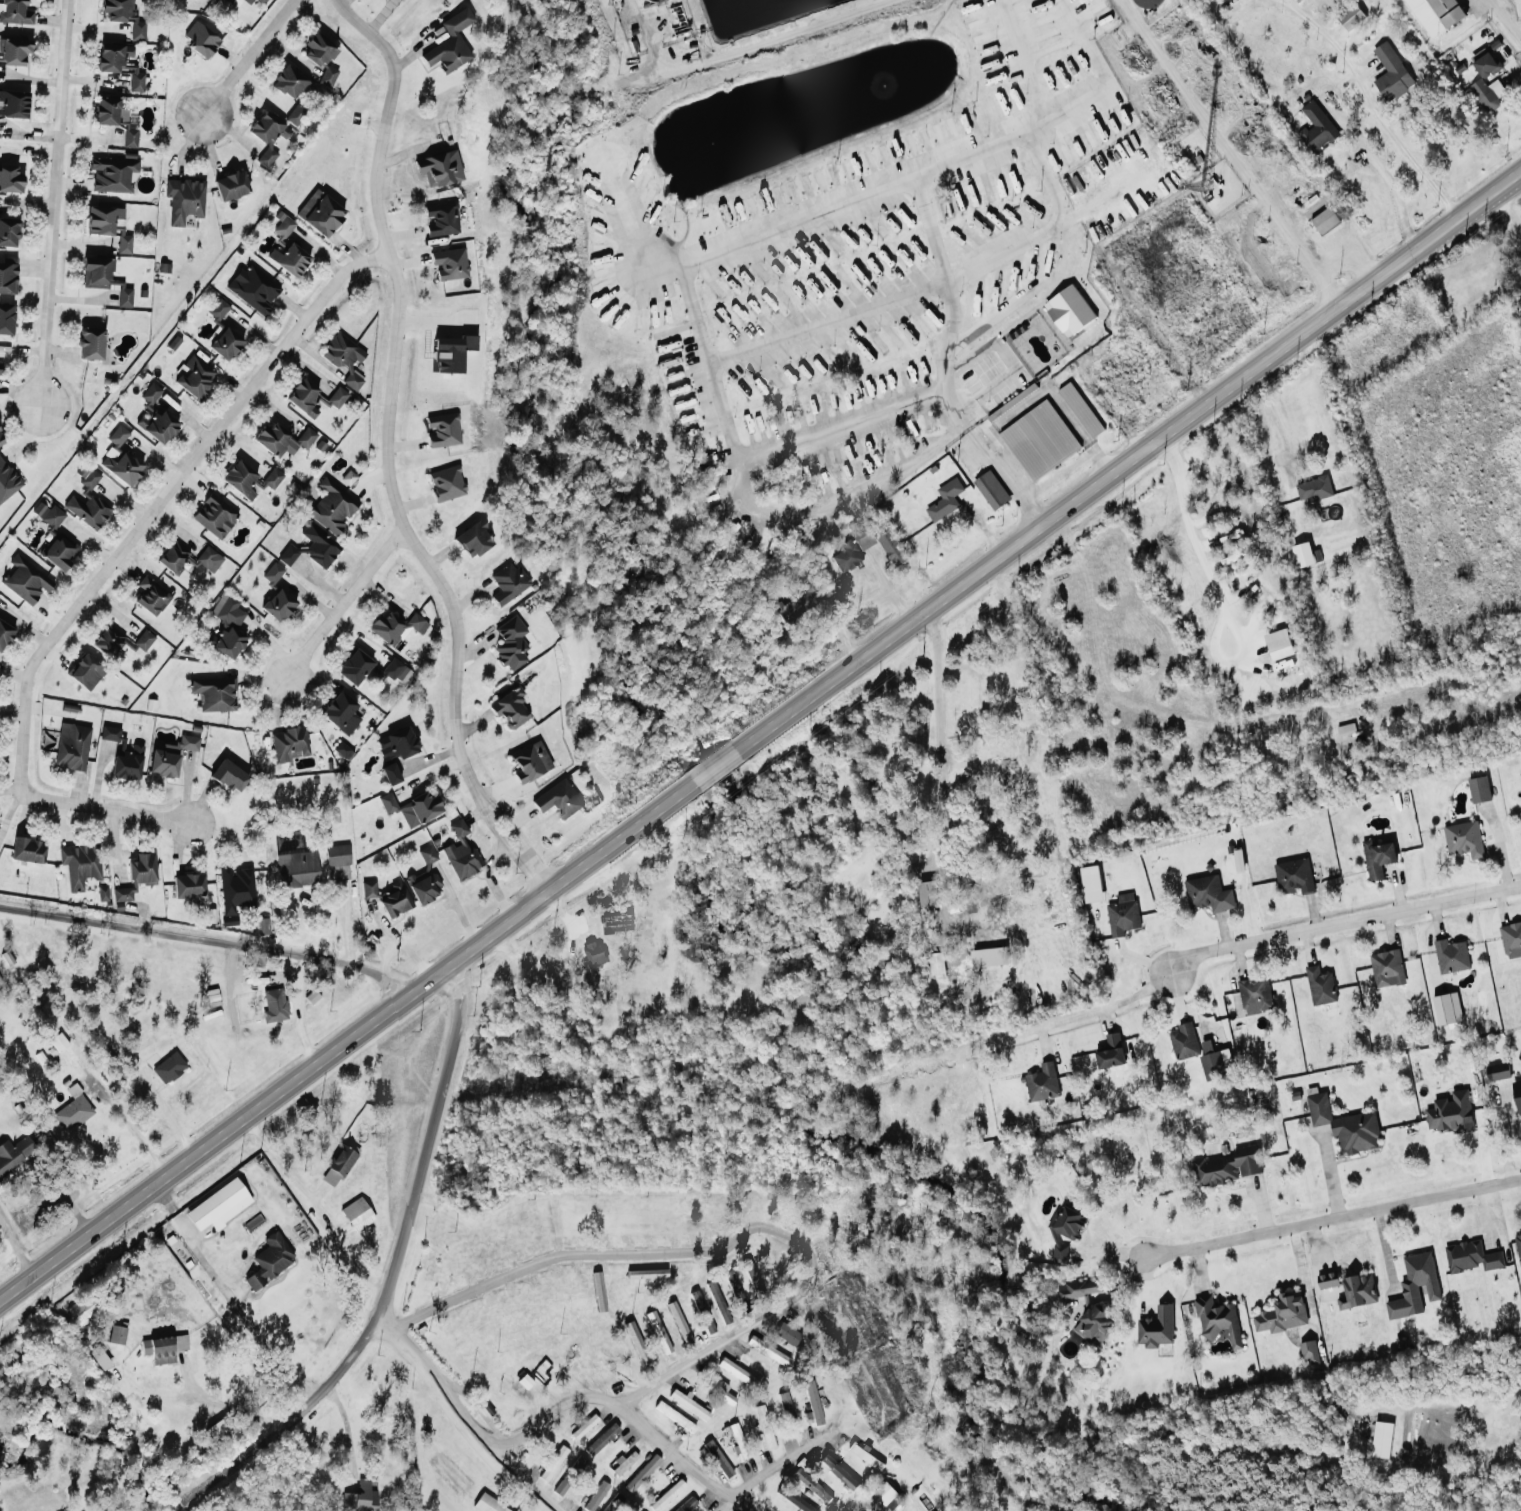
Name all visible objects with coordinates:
building: (230, 0)
building: (1211, 0)
building: (248, 1)
building: (262, 1)
building: (1147, 3)
storage tank: (1147, 3)
building: (1453, 11)
building: (15, 12)
building: (124, 15)
building: (1354, 15)
road: (1504, 19)
building: (200, 39)
road: (761, 42)
building: (450, 43)
building: (14, 51)
building: (321, 57)
road: (248, 58)
road: (1020, 60)
building: (1489, 61)
building: (119, 63)
building: (1393, 69)
road: (1104, 75)
building: (291, 83)
fountain: (881, 85)
building: (1499, 86)
building: (13, 104)
road: (1369, 109)
building: (296, 113)
building: (114, 118)
building: (1320, 122)
building: (268, 135)
fountain: (712, 142)
road: (1227, 153)
building: (439, 168)
building: (112, 174)
road: (1385, 177)
building: (10, 179)
building: (230, 185)
building: (184, 199)
road: (52, 203)
building: (320, 213)
building: (102, 219)
building: (441, 219)
building: (1326, 219)
road: (791, 220)
building: (283, 224)
road: (928, 229)
road: (1044, 230)
building: (8, 231)
road: (1507, 238)
road: (1348, 243)
building: (125, 244)
road: (390, 251)
building: (289, 259)
building: (449, 263)
building: (96, 272)
building: (8, 275)
building: (253, 288)
building: (122, 294)
road: (1019, 296)
building: (218, 309)
building: (1068, 310)
building: (6, 318)
building: (90, 343)
building: (225, 343)
road: (947, 347)
building: (451, 352)
building: (344, 358)
road: (1008, 358)
building: (0, 368)
building: (194, 376)
road: (714, 387)
road: (1048, 389)
building: (303, 397)
building: (337, 397)
building: (1011, 400)
building: (1079, 407)
building: (155, 416)
road: (1275, 423)
road: (838, 426)
road: (962, 426)
building: (442, 430)
road: (984, 434)
building: (1039, 438)
road: (1132, 438)
building: (282, 439)
building: (1, 441)
building: (120, 458)
road: (1100, 460)
road: (1130, 462)
building: (249, 479)
road: (1004, 479)
building: (7, 480)
building: (446, 482)
building: (1313, 488)
building: (991, 489)
building: (944, 499)
building: (87, 500)
road: (162, 503)
building: (331, 507)
building: (48, 514)
building: (214, 515)
building: (473, 539)
building: (890, 545)
building: (60, 551)
building: (1302, 554)
building: (847, 556)
building: (187, 559)
building: (272, 573)
building: (25, 580)
building: (508, 583)
road: (1215, 588)
building: (151, 596)
road: (346, 601)
building: (793, 604)
building: (278, 605)
road: (1010, 618)
building: (226, 627)
building: (395, 627)
building: (4, 634)
building: (119, 642)
building: (510, 643)
building: (1278, 643)
building: (354, 666)
building: (395, 670)
building: (86, 672)
building: (213, 693)
building: (510, 708)
building: (340, 712)
road: (452, 717)
road: (938, 737)
building: (289, 743)
building: (396, 744)
building: (72, 746)
building: (123, 754)
building: (170, 755)
building: (530, 761)
road: (715, 767)
building: (390, 773)
building: (229, 775)
building: (1478, 788)
building: (558, 799)
building: (412, 807)
road: (109, 814)
building: (1519, 817)
building: (1003, 834)
building: (1463, 838)
building: (28, 850)
building: (461, 852)
building: (1377, 857)
building: (338, 862)
building: (79, 864)
building: (297, 868)
building: (136, 875)
building: (1293, 875)
building: (425, 877)
building: (188, 885)
building: (369, 888)
building: (236, 889)
building: (927, 892)
building: (102, 893)
building: (1208, 893)
building: (395, 900)
building: (958, 908)
building: (1122, 913)
building: (263, 926)
road: (1344, 927)
building: (1511, 939)
road: (204, 944)
building: (592, 952)
building: (1450, 955)
road: (558, 956)
building: (975, 960)
building: (936, 963)
building: (1386, 968)
building: (1320, 985)
building: (1254, 993)
building: (274, 1005)
road: (1103, 1005)
building: (1446, 1008)
road: (301, 1011)
road: (345, 1038)
building: (1183, 1040)
building: (58, 1041)
building: (1110, 1051)
building: (1211, 1061)
building: (169, 1067)
building: (1496, 1071)
building: (1042, 1082)
building: (1517, 1093)
building: (73, 1109)
building: (1449, 1112)
building: (1344, 1124)
road: (131, 1130)
building: (14, 1152)
building: (339, 1164)
building: (1225, 1166)
building: (219, 1205)
building: (357, 1213)
road: (1332, 1217)
building: (1064, 1231)
road: (725, 1245)
building: (1518, 1247)
road: (16, 1249)
building: (1471, 1256)
building: (269, 1260)
road: (390, 1272)
building: (1414, 1285)
building: (1078, 1287)
building: (1347, 1289)
building: (735, 1290)
road: (227, 1295)
building: (718, 1302)
building: (82, 1309)
building: (1281, 1314)
building: (1217, 1320)
building: (1094, 1323)
building: (1156, 1327)
building: (117, 1334)
building: (786, 1334)
building: (163, 1347)
building: (767, 1350)
building: (1309, 1350)
building: (735, 1370)
building: (722, 1391)
road: (223, 1402)
building: (812, 1402)
building: (688, 1404)
building: (786, 1410)
road: (628, 1414)
road: (464, 1416)
building: (674, 1416)
building: (584, 1426)
building: (216, 1430)
road: (347, 1432)
road: (468, 1437)
building: (736, 1438)
building: (601, 1439)
building: (1381, 1439)
building: (865, 1455)
building: (716, 1458)
building: (623, 1462)
building: (552, 1463)
building: (577, 1464)
road: (778, 1465)
building: (838, 1471)
building: (642, 1473)
building: (561, 1485)
building: (810, 1485)
building: (884, 1492)
building: (596, 1495)
building: (667, 1495)
building: (361, 1496)
building: (793, 1499)
building: (613, 1502)
building: (893, 1502)
building: (487, 1504)
building: (686, 1505)

